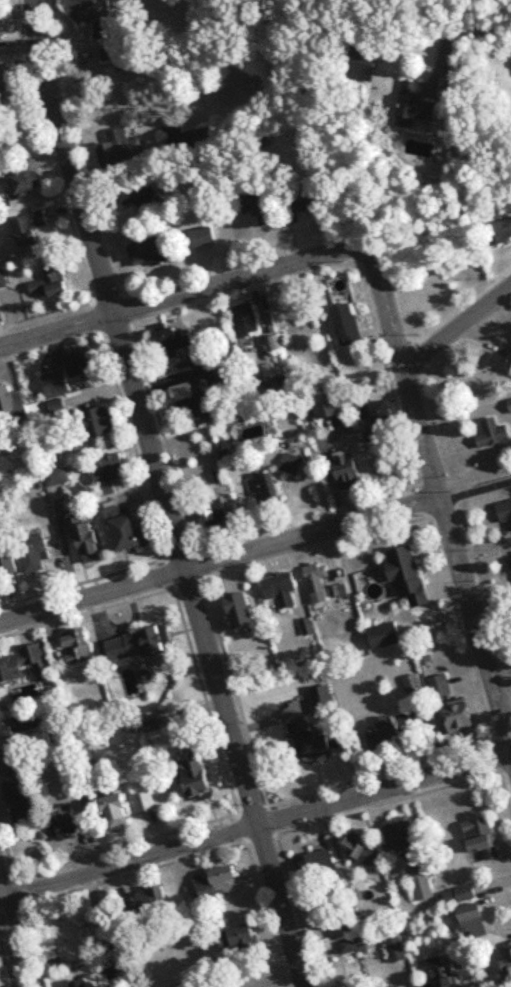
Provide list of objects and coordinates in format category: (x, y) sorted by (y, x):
building: (97, 16)
building: (0, 22)
road: (471, 47)
building: (111, 56)
building: (368, 60)
building: (5, 93)
building: (420, 108)
building: (190, 139)
building: (121, 153)
building: (28, 186)
building: (141, 199)
building: (302, 203)
building: (260, 208)
building: (30, 229)
building: (498, 233)
building: (204, 238)
building: (151, 253)
road: (245, 278)
building: (2, 279)
building: (51, 285)
building: (245, 321)
building: (349, 326)
road: (459, 335)
building: (275, 345)
building: (180, 348)
building: (503, 363)
building: (81, 365)
building: (53, 386)
building: (277, 393)
building: (195, 402)
building: (510, 403)
building: (330, 406)
building: (8, 407)
building: (384, 414)
road: (464, 415)
building: (100, 424)
building: (493, 435)
building: (291, 464)
building: (112, 475)
building: (350, 475)
building: (58, 477)
road: (473, 478)
building: (268, 490)
road: (162, 494)
building: (506, 513)
building: (215, 514)
building: (128, 530)
building: (89, 544)
building: (35, 557)
road: (218, 559)
road: (456, 564)
building: (8, 565)
building: (409, 577)
building: (317, 584)
building: (281, 589)
building: (338, 592)
building: (385, 637)
building: (139, 645)
building: (78, 647)
building: (23, 666)
building: (412, 685)
building: (440, 687)
building: (461, 719)
building: (19, 730)
building: (385, 735)
building: (311, 740)
building: (85, 759)
building: (199, 781)
building: (145, 802)
building: (21, 803)
building: (119, 814)
road: (255, 825)
building: (69, 829)
building: (400, 835)
building: (482, 838)
building: (362, 851)
building: (316, 863)
building: (421, 883)
building: (219, 884)
building: (459, 896)
building: (151, 899)
building: (475, 926)
road: (14, 936)
building: (240, 938)
building: (348, 947)
building: (396, 949)
building: (507, 962)
building: (432, 964)
building: (3, 972)
building: (444, 983)
building: (406, 986)

